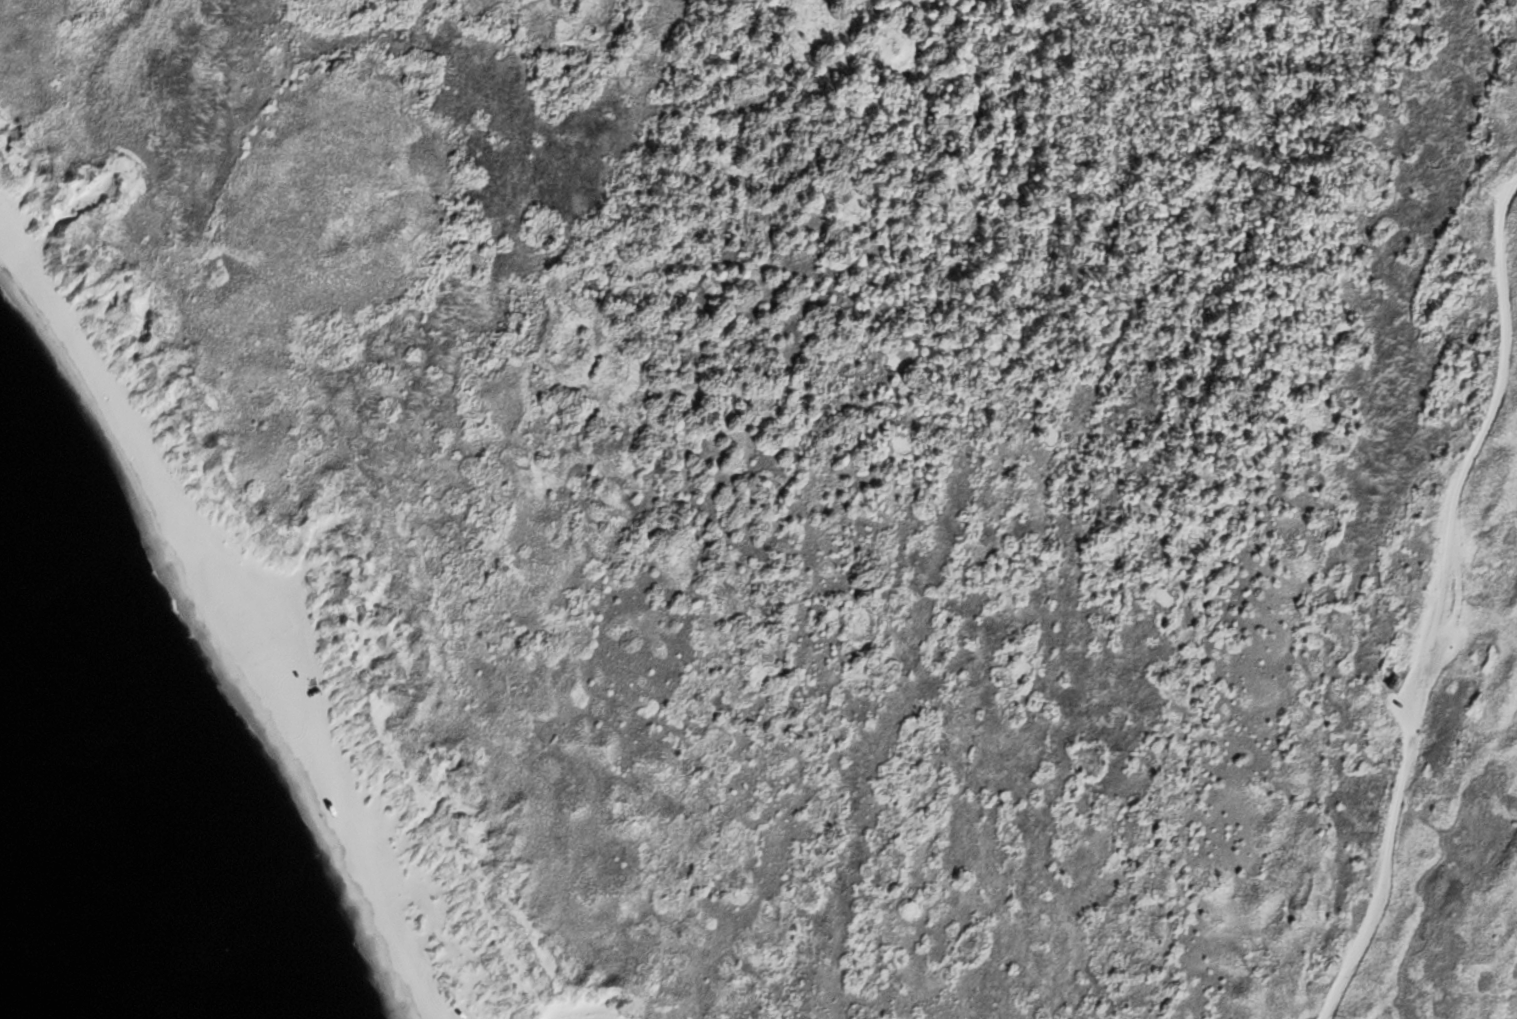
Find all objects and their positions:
road: (1456, 550)
road: (1456, 596)
road: (1435, 601)
road: (1484, 628)
road: (1443, 653)
road: (1402, 678)
building: (1394, 680)
road: (1403, 681)
road: (1399, 682)
road: (584, 1018)

